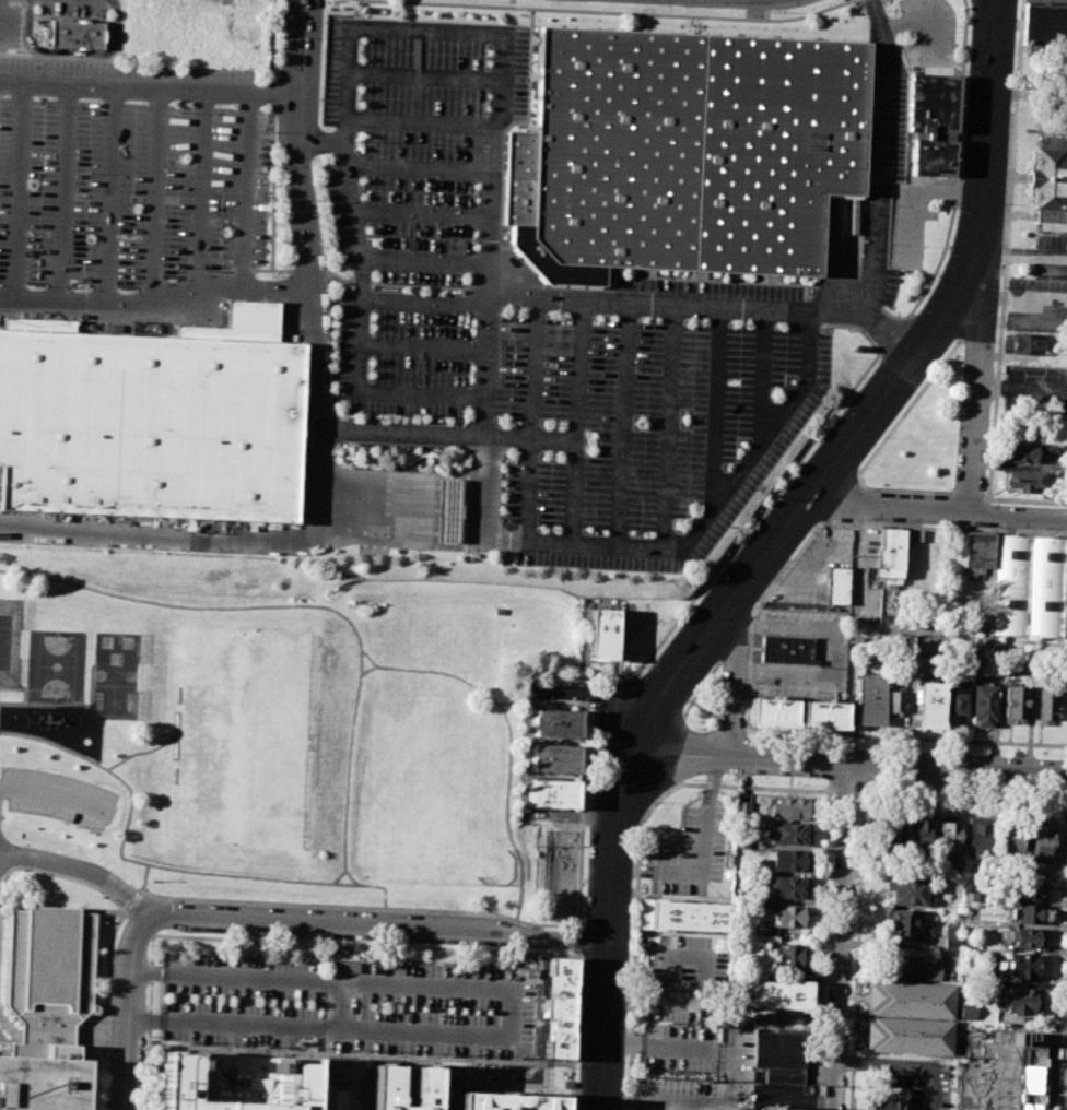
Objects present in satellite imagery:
road: (27, 0)
street lamp: (543, 0)
street lamp: (333, 1)
road: (110, 3)
street lamp: (852, 5)
street lamp: (370, 8)
street lamp: (399, 9)
street lamp: (681, 9)
road: (610, 12)
street lamp: (469, 13)
street lamp: (507, 14)
street lamp: (771, 14)
street lamp: (578, 19)
road: (984, 19)
street lamp: (612, 20)
street lamp: (321, 21)
building: (1044, 24)
street lamp: (714, 25)
street lamp: (750, 26)
parking lot: (9, 27)
street lamp: (778, 27)
road: (429, 32)
building: (77, 34)
road: (271, 44)
road: (290, 46)
road: (310, 46)
road: (68, 52)
street lamp: (488, 56)
street lamp: (965, 71)
parking lot: (1046, 71)
street lamp: (1015, 74)
road: (423, 76)
road: (149, 83)
street lamp: (318, 98)
building: (933, 106)
road: (468, 122)
building: (690, 149)
road: (879, 157)
building: (929, 160)
road: (955, 163)
road: (414, 167)
building: (1047, 179)
road: (20, 187)
road: (63, 188)
parking lot: (131, 189)
road: (108, 190)
road: (155, 191)
road: (200, 193)
road: (246, 194)
street lamp: (891, 204)
street lamp: (954, 212)
road: (417, 214)
road: (1023, 215)
street lamp: (889, 243)
street lamp: (924, 246)
street lamp: (938, 251)
road: (1019, 253)
parking lot: (1050, 255)
road: (372, 258)
street lamp: (998, 267)
street lamp: (900, 273)
street lamp: (926, 281)
street lamp: (998, 284)
road: (1002, 288)
road: (156, 299)
road: (424, 302)
road: (670, 303)
parking lot: (1035, 305)
street lamp: (915, 311)
street lamp: (555, 314)
parking lot: (559, 315)
road: (869, 316)
street lamp: (647, 319)
street lamp: (739, 323)
street lamp: (782, 326)
street lamp: (845, 330)
road: (893, 335)
street lamp: (951, 341)
building: (1024, 343)
road: (421, 347)
street lamp: (872, 354)
road: (485, 356)
road: (528, 367)
road: (575, 370)
road: (760, 374)
street lamp: (856, 377)
road: (1021, 387)
road: (888, 389)
parking lot: (1035, 389)
road: (353, 390)
road: (975, 392)
road: (713, 403)
street lamp: (840, 412)
street lamp: (824, 420)
building: (151, 423)
road: (615, 423)
road: (664, 425)
building: (1052, 430)
road: (399, 434)
street lamp: (879, 437)
street lamp: (808, 440)
road: (571, 449)
building: (1019, 452)
street lamp: (789, 463)
road: (315, 472)
road: (398, 477)
building: (1022, 481)
road: (781, 484)
road: (398, 489)
road: (481, 489)
road: (523, 492)
road: (713, 496)
street lamp: (775, 497)
road: (397, 503)
road: (938, 509)
building: (443, 510)
street lamp: (757, 510)
road: (397, 512)
street lamp: (828, 523)
road: (396, 526)
street lamp: (724, 527)
road: (943, 528)
street lamp: (812, 529)
street lamp: (739, 531)
building: (912, 534)
road: (396, 536)
road: (500, 541)
road: (788, 545)
building: (977, 550)
building: (889, 552)
street lamp: (723, 554)
street lamp: (714, 577)
building: (837, 584)
building: (1028, 586)
street lamp: (689, 599)
street lamp: (755, 603)
road: (300, 605)
road: (753, 615)
street lamp: (673, 618)
building: (1064, 619)
road: (854, 633)
building: (602, 634)
street lamp: (658, 640)
park: (3, 641)
street lamp: (748, 641)
building: (787, 649)
road: (829, 652)
road: (368, 658)
park: (55, 666)
street lamp: (647, 666)
road: (368, 671)
road: (735, 671)
road: (17, 689)
road: (659, 689)
road: (611, 692)
street lamp: (691, 696)
road: (591, 697)
building: (955, 697)
building: (870, 700)
building: (1045, 701)
building: (895, 702)
road: (590, 704)
building: (928, 704)
building: (984, 704)
building: (1013, 704)
road: (66, 705)
road: (683, 707)
road: (704, 708)
building: (772, 711)
street lamp: (591, 712)
building: (823, 713)
building: (555, 723)
road: (731, 723)
street lamp: (695, 727)
park: (244, 735)
road: (905, 735)
road: (509, 746)
road: (138, 753)
road: (670, 754)
building: (553, 758)
road: (848, 763)
street lamp: (688, 779)
street lamp: (589, 786)
road: (742, 787)
road: (833, 791)
road: (846, 791)
road: (860, 791)
building: (550, 793)
road: (52, 794)
parking lot: (57, 795)
road: (659, 795)
building: (790, 807)
building: (742, 811)
street lamp: (645, 813)
park: (438, 825)
building: (793, 832)
building: (887, 834)
building: (916, 835)
building: (978, 836)
building: (948, 837)
building: (1010, 838)
building: (742, 839)
building: (1040, 840)
parking lot: (696, 848)
road: (860, 849)
street lamp: (634, 857)
building: (947, 858)
building: (790, 860)
road: (156, 865)
road: (81, 871)
road: (144, 876)
road: (339, 876)
road: (351, 876)
building: (789, 887)
building: (1029, 889)
road: (139, 891)
building: (908, 893)
building: (969, 895)
road: (131, 901)
road: (127, 912)
building: (1027, 913)
road: (611, 914)
building: (684, 916)
building: (786, 917)
road: (514, 919)
road: (118, 921)
road: (141, 925)
building: (903, 925)
road: (578, 929)
road: (378, 930)
road: (841, 936)
building: (1024, 937)
road: (279, 941)
road: (578, 942)
building: (951, 945)
parking lot: (4, 948)
street lamp: (568, 950)
road: (1058, 956)
street lamp: (632, 957)
building: (789, 957)
building: (1022, 966)
building: (910, 969)
parking lot: (687, 979)
street lamp: (851, 990)
building: (770, 994)
building: (911, 999)
building: (1020, 1001)
road: (678, 1003)
road: (339, 1004)
parking lot: (348, 1006)
building: (47, 1007)
road: (539, 1007)
building: (560, 1007)
building: (966, 1011)
road: (128, 1012)
road: (511, 1012)
road: (575, 1030)
building: (908, 1035)
road: (658, 1043)
parking lot: (679, 1047)
road: (361, 1054)
building: (779, 1056)
street lamp: (626, 1062)
road: (903, 1066)
building: (344, 1068)
street lamp: (567, 1070)
parking lot: (1007, 1071)
parking lot: (708, 1081)
parking lot: (914, 1081)
building: (235, 1082)
road: (1001, 1084)
building: (383, 1086)
street lamp: (846, 1086)
building: (502, 1101)
road: (700, 1102)
building: (882, 1103)
building: (776, 1109)

